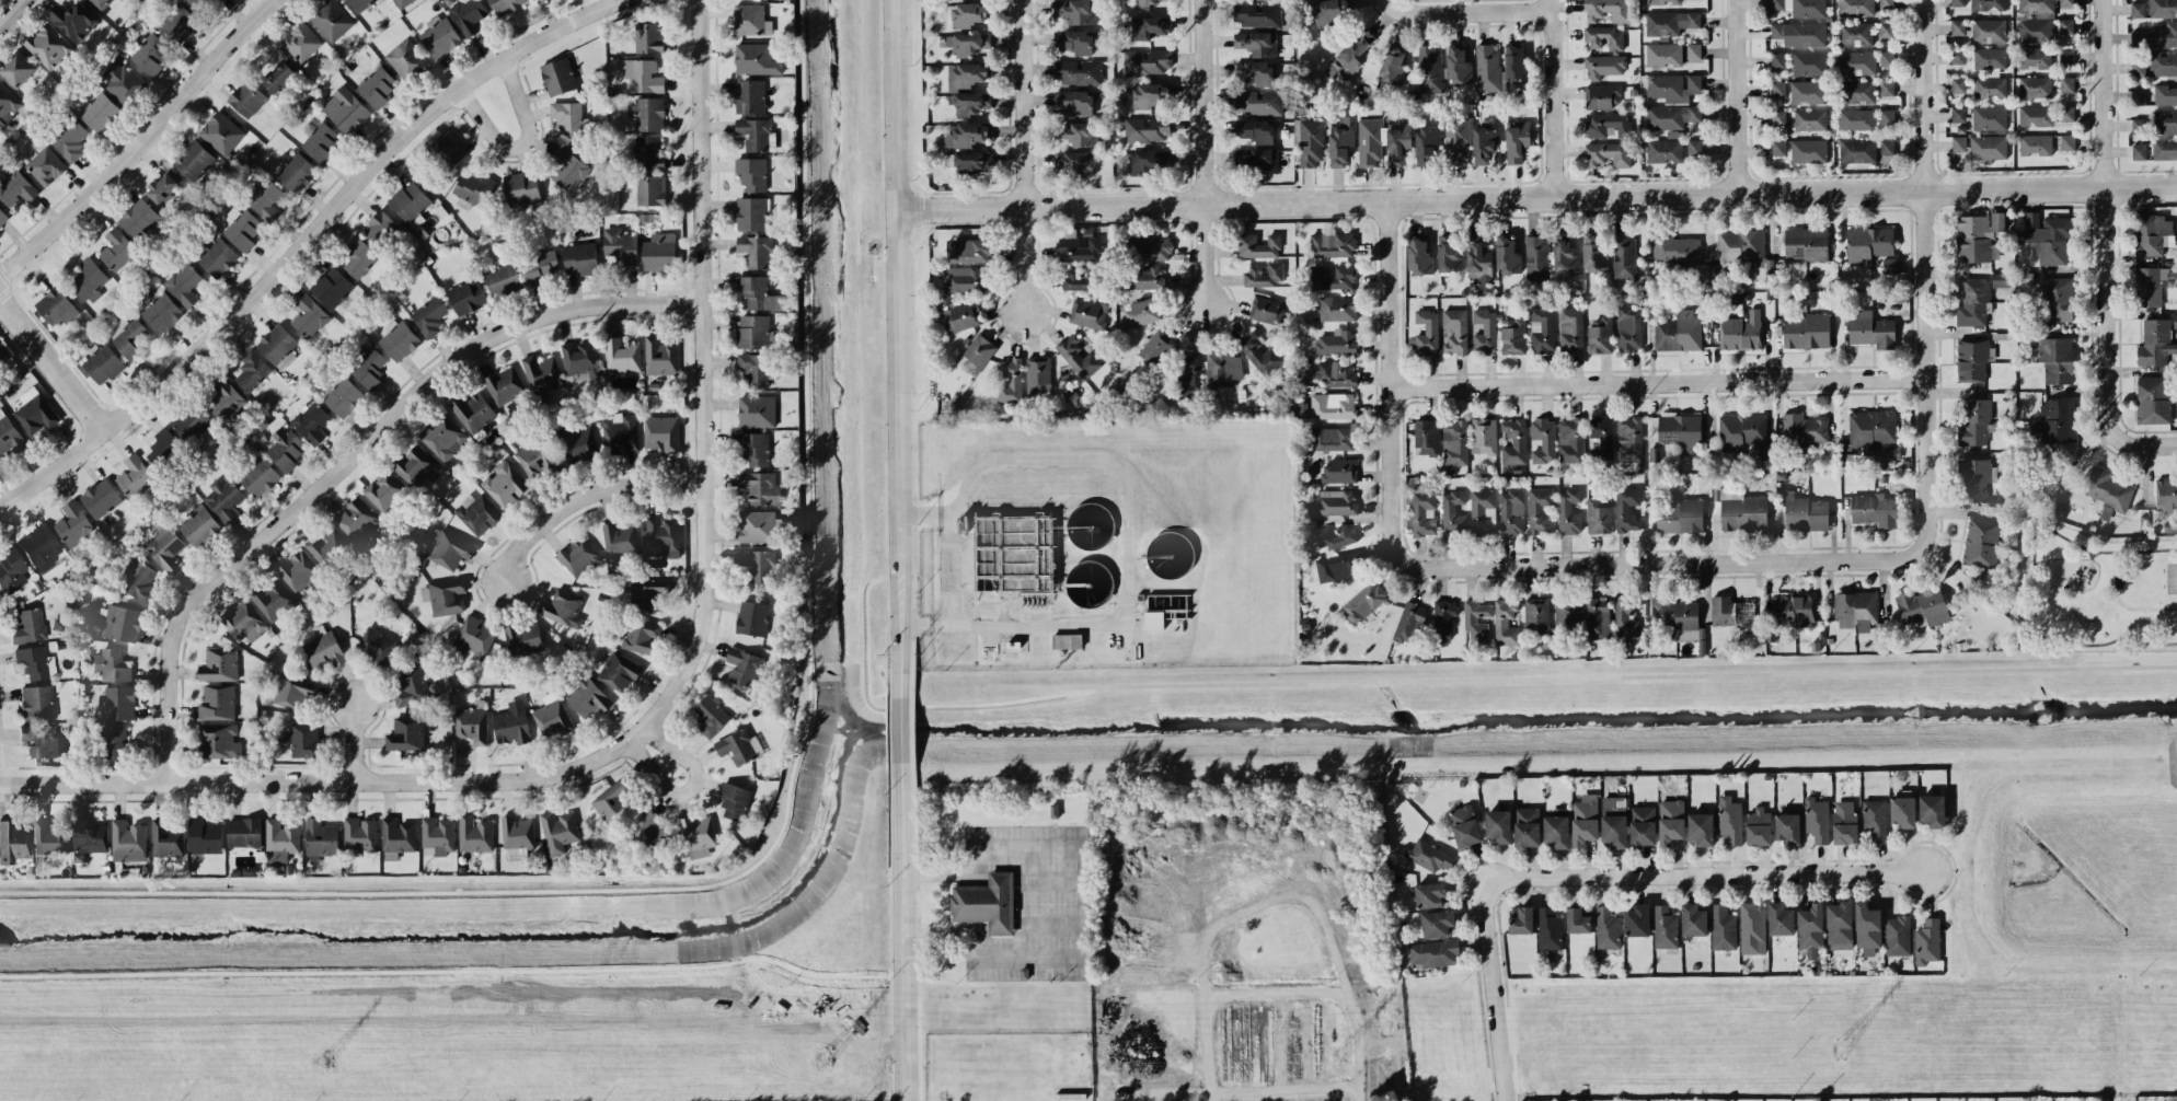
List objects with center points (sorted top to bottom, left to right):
building: (402, 2)
building: (1886, 2)
building: (1957, 2)
building: (2065, 2)
building: (100, 3)
building: (1143, 3)
building: (204, 4)
building: (360, 4)
building: (1986, 4)
building: (506, 5)
building: (1800, 8)
building: (1856, 8)
building: (2163, 8)
road: (1402, 9)
building: (1076, 10)
building: (1332, 10)
building: (1608, 10)
building: (2138, 10)
road: (11, 11)
road: (1486, 12)
building: (968, 14)
building: (1257, 14)
building: (469, 15)
building: (74, 20)
building: (331, 20)
building: (750, 20)
building: (2036, 20)
building: (1670, 22)
road: (1741, 22)
building: (177, 23)
building: (2065, 25)
building: (1150, 26)
building: (1957, 26)
building: (1887, 30)
building: (1988, 31)
building: (1799, 34)
building: (1855, 34)
building: (440, 36)
building: (2156, 36)
building: (648, 37)
building: (1604, 37)
building: (301, 42)
building: (1074, 42)
building: (968, 43)
building: (1257, 43)
building: (48, 45)
building: (1693, 50)
building: (149, 53)
building: (1663, 54)
building: (2066, 55)
building: (1350, 56)
building: (1957, 56)
building: (2035, 57)
building: (1887, 58)
building: (1989, 58)
building: (406, 59)
building: (756, 59)
building: (1777, 59)
building: (1147, 61)
building: (1856, 62)
building: (1809, 63)
building: (2163, 63)
building: (1393, 66)
building: (1516, 66)
building: (1603, 66)
building: (1459, 67)
building: (1487, 67)
building: (2138, 67)
building: (18, 68)
building: (1429, 69)
building: (1076, 71)
building: (1256, 72)
building: (967, 74)
building: (642, 76)
building: (557, 77)
building: (279, 78)
building: (122, 82)
building: (1958, 84)
building: (2066, 84)
building: (377, 85)
building: (1671, 85)
building: (1990, 86)
building: (2035, 86)
building: (1886, 88)
building: (1778, 89)
building: (1808, 92)
building: (1857, 92)
building: (1152, 94)
building: (2165, 94)
building: (749, 95)
road: (1928, 95)
building: (1601, 96)
building: (2138, 96)
building: (246, 97)
road: (1559, 97)
building: (7, 101)
building: (1074, 102)
building: (1257, 102)
building: (970, 103)
building: (345, 109)
building: (100, 112)
building: (2066, 113)
building: (647, 114)
building: (1958, 114)
building: (1671, 116)
building: (1887, 116)
building: (2036, 116)
building: (1778, 117)
building: (568, 118)
road: (1744, 118)
building: (1989, 118)
building: (1809, 119)
building: (1856, 119)
building: (2164, 121)
building: (1608, 125)
building: (2138, 126)
building: (1144, 129)
building: (1256, 131)
building: (221, 132)
building: (757, 134)
building: (967, 134)
building: (1079, 134)
building: (70, 139)
building: (1456, 140)
building: (1517, 140)
building: (321, 141)
building: (1340, 141)
road: (142, 142)
building: (1369, 142)
building: (1397, 142)
building: (2066, 142)
road: (520, 143)
building: (1311, 143)
building: (1427, 143)
building: (1484, 144)
building: (2035, 144)
building: (1887, 146)
building: (1694, 147)
building: (1778, 147)
building: (1981, 147)
building: (2164, 148)
building: (448, 149)
road: (2105, 149)
building: (1665, 150)
building: (1857, 150)
building: (1808, 151)
building: (2139, 151)
building: (648, 153)
road: (1202, 153)
building: (1609, 153)
road: (1026, 157)
building: (194, 160)
building: (1260, 160)
building: (974, 162)
building: (1075, 162)
building: (1149, 162)
building: (46, 165)
building: (568, 170)
building: (296, 172)
building: (751, 173)
building: (15, 186)
building: (163, 186)
road: (2053, 187)
building: (471, 188)
building: (521, 189)
building: (650, 189)
road: (1414, 198)
building: (265, 199)
building: (410, 201)
building: (751, 213)
building: (2, 217)
building: (138, 218)
building: (380, 228)
building: (243, 229)
building: (2151, 232)
building: (1980, 236)
building: (2048, 237)
building: (1869, 242)
road: (306, 244)
building: (1333, 244)
building: (1806, 244)
building: (620, 245)
building: (1258, 246)
building: (1150, 247)
building: (117, 250)
building: (968, 250)
building: (1079, 250)
building: (1674, 250)
building: (1738, 250)
building: (757, 251)
building: (659, 252)
building: (1565, 252)
building: (1594, 253)
building: (1449, 254)
building: (1508, 256)
building: (1623, 256)
building: (218, 257)
building: (359, 257)
building: (1420, 257)
building: (1536, 257)
building: (580, 258)
building: (1478, 263)
building: (1890, 265)
building: (542, 266)
building: (1265, 275)
building: (503, 277)
building: (1143, 277)
building: (1334, 277)
building: (964, 278)
building: (2002, 279)
building: (88, 280)
building: (1078, 280)
building: (185, 283)
building: (2151, 285)
building: (332, 286)
building: (757, 292)
building: (465, 297)
building: (2057, 299)
building: (1973, 302)
building: (57, 306)
building: (1338, 309)
building: (1267, 310)
building: (161, 312)
building: (1141, 312)
building: (1088, 313)
building: (429, 315)
building: (309, 316)
building: (959, 317)
building: (2175, 320)
building: (1628, 327)
building: (1570, 328)
building: (1871, 329)
building: (752, 331)
building: (1455, 331)
building: (1542, 331)
building: (1806, 331)
building: (1427, 332)
building: (1485, 332)
building: (1741, 332)
building: (1677, 333)
building: (1600, 335)
building: (1512, 336)
building: (129, 337)
building: (399, 340)
building: (1336, 341)
building: (2155, 341)
building: (276, 343)
road: (898, 347)
building: (1156, 347)
building: (2, 351)
building: (1259, 352)
building: (976, 354)
building: (622, 355)
building: (660, 356)
building: (1078, 356)
road: (55, 357)
building: (580, 358)
building: (1973, 359)
building: (2055, 359)
building: (102, 362)
building: (369, 368)
building: (753, 369)
building: (1223, 369)
road: (2105, 369)
building: (252, 370)
road: (1931, 371)
building: (1337, 373)
building: (541, 374)
building: (1038, 374)
building: (1189, 375)
building: (1010, 380)
road: (1395, 380)
road: (1663, 381)
road: (701, 383)
building: (504, 385)
building: (343, 396)
building: (226, 399)
building: (2153, 399)
building: (1333, 405)
building: (35, 412)
building: (473, 412)
building: (757, 412)
building: (310, 420)
building: (2057, 421)
building: (192, 422)
building: (1974, 422)
building: (1871, 427)
building: (1740, 430)
building: (1681, 431)
building: (1804, 431)
building: (661, 432)
building: (620, 433)
building: (9, 436)
building: (1484, 436)
building: (442, 437)
building: (1427, 437)
building: (1333, 438)
building: (1600, 438)
building: (1629, 439)
building: (1543, 440)
building: (1570, 440)
building: (1513, 441)
building: (1454, 442)
road: (2145, 443)
building: (577, 444)
building: (162, 445)
building: (285, 448)
building: (755, 448)
building: (1892, 451)
building: (1765, 452)
building: (535, 457)
road: (354, 459)
building: (414, 466)
building: (1339, 471)
building: (135, 475)
building: (260, 477)
building: (1973, 479)
building: (505, 485)
building: (761, 487)
building: (384, 490)
building: (2108, 491)
road: (585, 495)
building: (2166, 495)
building: (101, 497)
building: (223, 499)
building: (1336, 501)
building: (1625, 509)
building: (1741, 509)
building: (1874, 509)
building: (1540, 510)
building: (1452, 511)
building: (1511, 511)
building: (1568, 511)
building: (476, 512)
building: (1422, 512)
building: (1483, 512)
building: (1805, 512)
building: (1599, 515)
building: (1681, 517)
building: (356, 520)
building: (73, 523)
building: (199, 525)
building: (757, 526)
building: (663, 535)
road: (1127, 535)
building: (1334, 536)
building: (620, 538)
wastewater plant: (1105, 543)
building: (1981, 543)
building: (326, 545)
building: (39, 546)
building: (165, 547)
building: (447, 547)
building: (1013, 553)
road: (2092, 555)
building: (578, 556)
road: (1665, 560)
building: (760, 565)
building: (1338, 566)
building: (11, 569)
road: (948, 569)
building: (298, 570)
road: (2035, 577)
park: (2172, 577)
building: (140, 579)
building: (647, 593)
building: (447, 595)
building: (273, 599)
building: (1363, 602)
road: (2123, 603)
building: (1923, 606)
building: (562, 609)
building: (1794, 610)
building: (1855, 610)
building: (1566, 612)
building: (1536, 615)
building: (1626, 616)
building: (752, 617)
building: (1597, 617)
building: (1678, 617)
building: (1444, 618)
building: (1153, 619)
building: (1471, 619)
building: (242, 622)
building: (1506, 622)
building: (122, 623)
building: (1409, 623)
building: (28, 625)
building: (642, 636)
building: (521, 637)
building: (473, 638)
building: (1067, 640)
building: (375, 647)
building: (322, 648)
building: (35, 661)
building: (112, 664)
building: (219, 664)
building: (744, 667)
building: (618, 673)
road: (1580, 676)
building: (408, 685)
building: (292, 691)
building: (587, 696)
building: (35, 702)
building: (118, 702)
building: (217, 703)
building: (711, 715)
building: (552, 716)
building: (511, 723)
building: (472, 725)
river: (1028, 729)
road: (902, 731)
building: (405, 733)
building: (39, 740)
building: (304, 740)
road: (355, 740)
building: (218, 741)
building: (115, 742)
building: (737, 746)
road: (316, 779)
road: (690, 788)
building: (734, 800)
building: (613, 802)
building: (1933, 810)
building: (1903, 811)
building: (1729, 819)
building: (1817, 819)
building: (1585, 820)
building: (1875, 820)
building: (1671, 821)
building: (1844, 823)
building: (1464, 825)
building: (1499, 825)
building: (1643, 825)
building: (1528, 826)
building: (1759, 826)
building: (1788, 827)
building: (649, 828)
building: (1557, 828)
building: (1702, 828)
building: (1614, 830)
building: (558, 831)
building: (244, 832)
building: (360, 834)
building: (438, 834)
building: (396, 835)
building: (474, 835)
building: (698, 835)
building: (89, 836)
building: (205, 836)
building: (517, 836)
building: (50, 837)
building: (321, 837)
building: (165, 839)
building: (281, 839)
building: (127, 841)
building: (13, 842)
building: (1429, 856)
road: (1705, 874)
building: (1430, 894)
road: (1081, 899)
building: (986, 903)
building: (1781, 918)
building: (1694, 919)
building: (1520, 920)
building: (1578, 920)
building: (1637, 920)
building: (1437, 923)
building: (1839, 925)
building: (1665, 927)
building: (1723, 927)
building: (1550, 928)
building: (1608, 928)
building: (1752, 928)
building: (1811, 928)
building: (1867, 928)
road: (907, 934)
building: (1897, 935)
building: (1927, 941)
building: (1433, 952)
road: (1493, 992)
power tower: (1856, 1051)
power tower: (1341, 1054)
power tower: (826, 1057)
power tower: (324, 1062)

